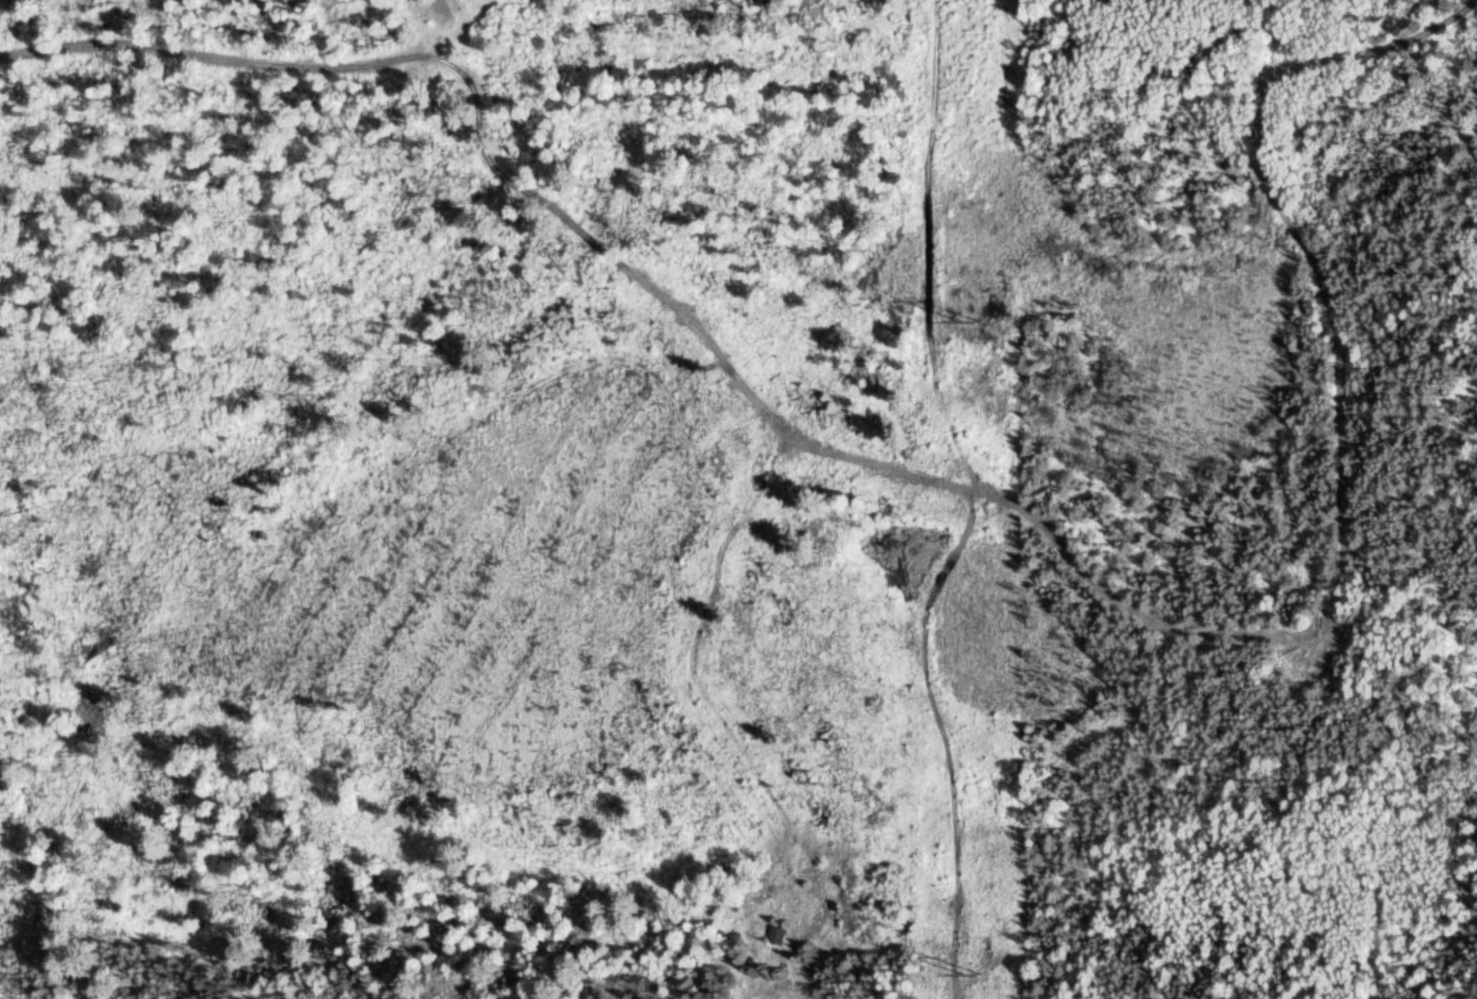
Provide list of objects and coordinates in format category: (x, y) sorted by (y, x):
road: (240, 49)
power tower: (977, 318)
road: (1264, 630)
building: (776, 934)
power tower: (970, 974)

